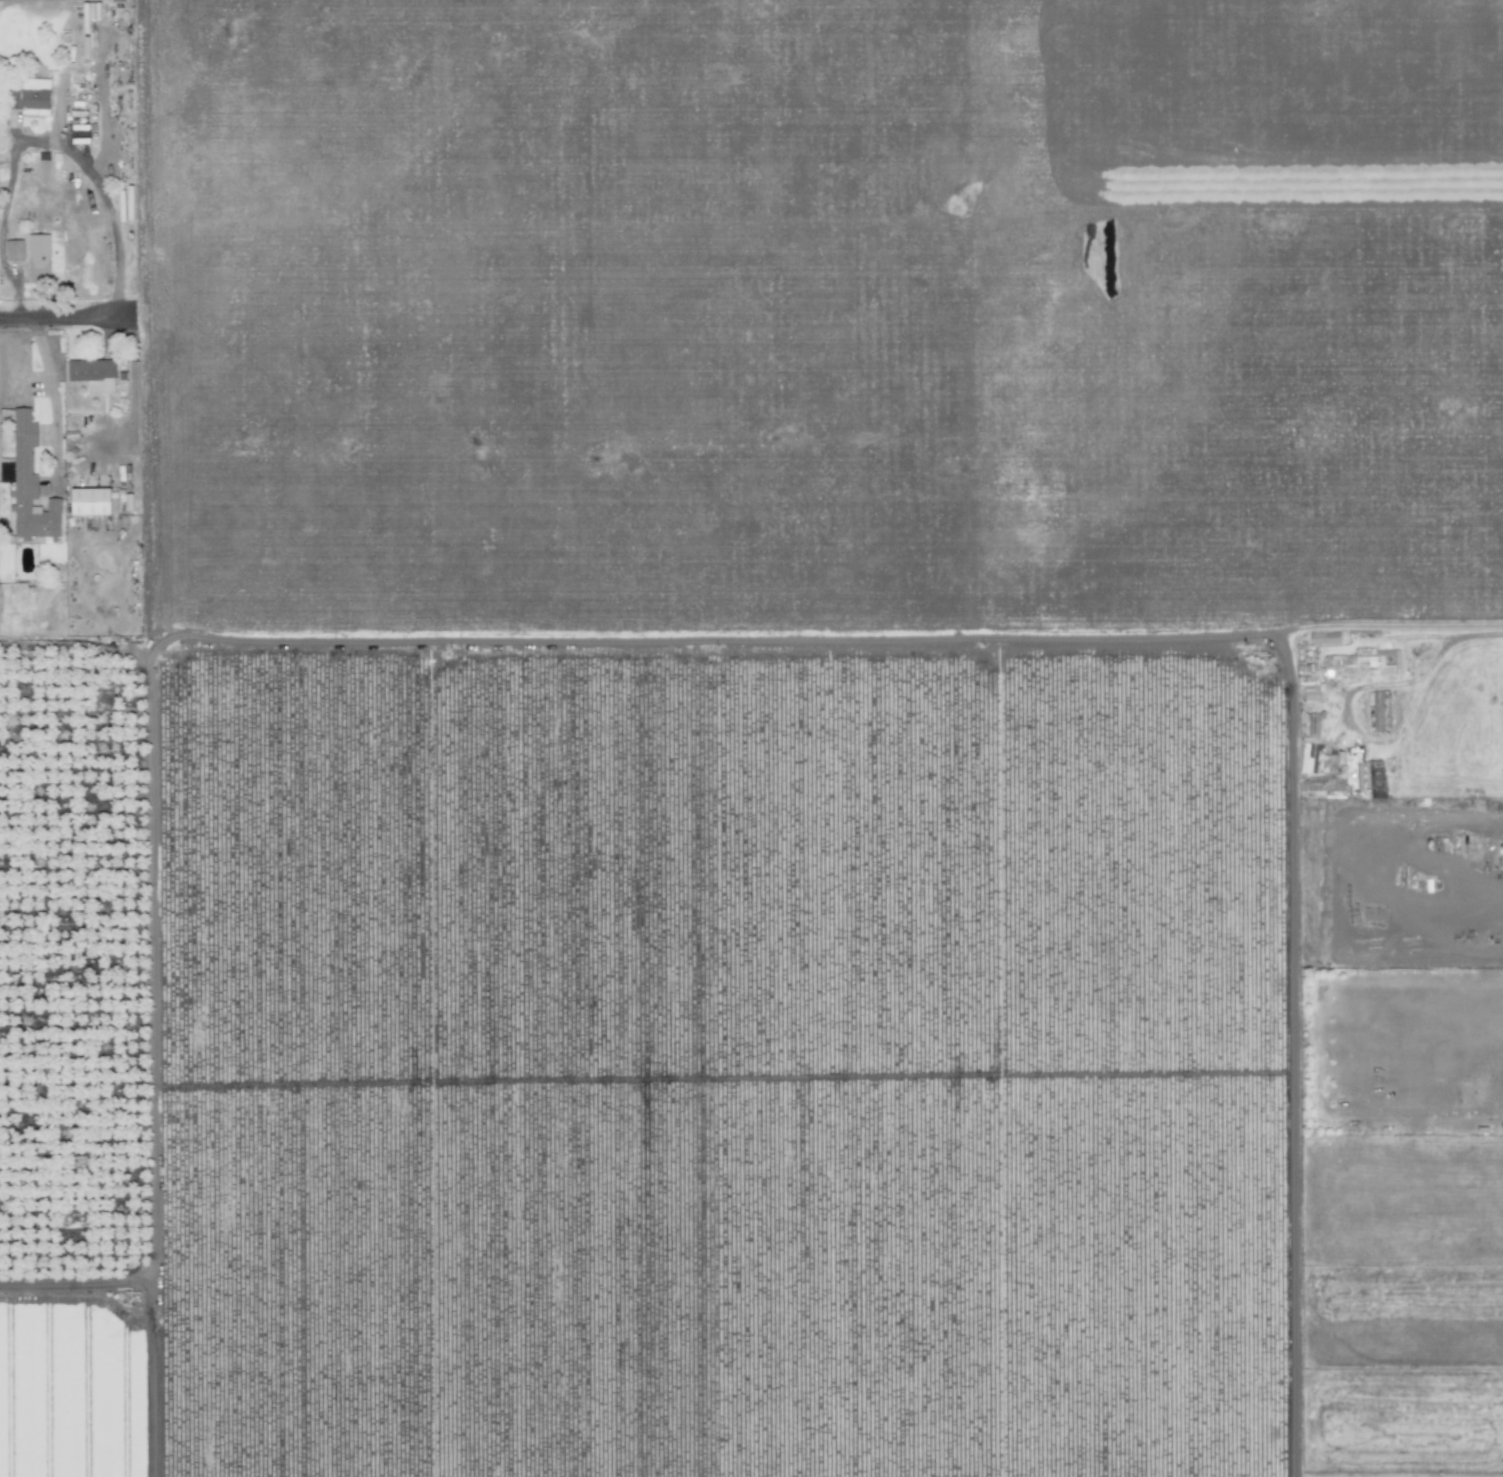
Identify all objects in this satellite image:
building: (91, 12)
building: (31, 99)
road: (82, 165)
building: (17, 252)
building: (41, 269)
road: (7, 276)
road: (16, 305)
road: (68, 320)
building: (94, 371)
road: (51, 400)
building: (25, 495)
building: (92, 503)
road: (751, 638)
building: (1324, 638)
building: (1338, 664)
railway: (922, 738)
building: (1375, 779)

